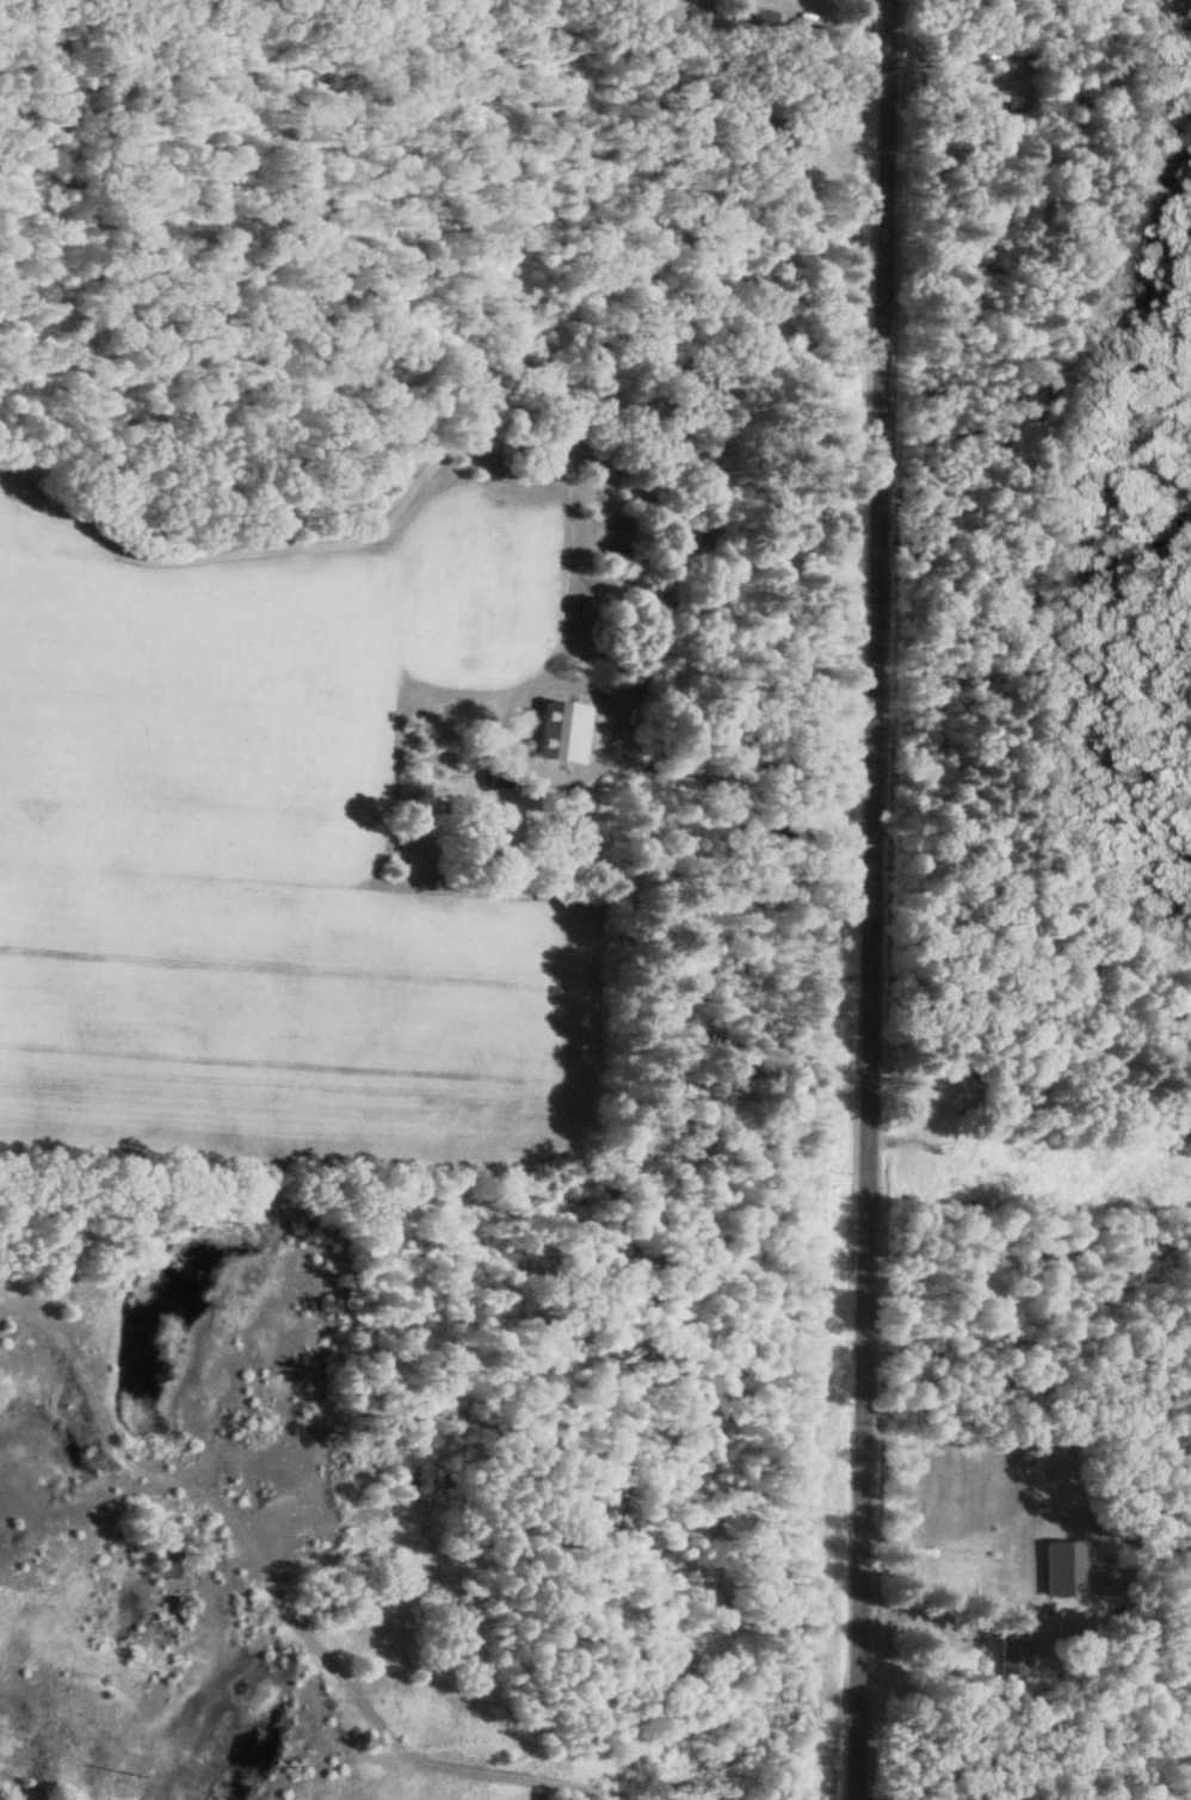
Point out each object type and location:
road: (863, 899)
quarry: (185, 1512)
building: (1014, 1658)
road: (533, 1780)

